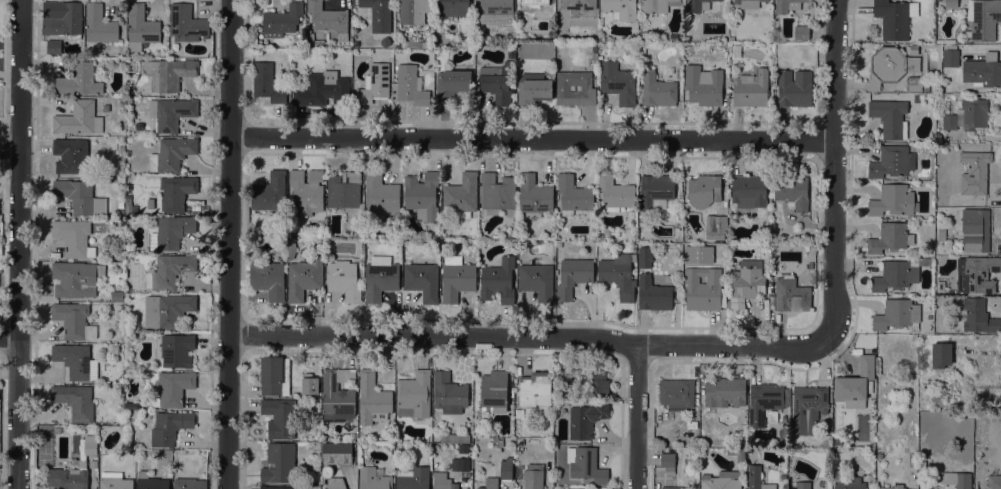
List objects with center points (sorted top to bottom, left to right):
building: (939, 0)
building: (748, 3)
building: (951, 3)
building: (578, 4)
building: (698, 5)
building: (787, 5)
building: (535, 6)
building: (654, 6)
building: (455, 8)
building: (620, 9)
building: (414, 11)
building: (496, 11)
building: (379, 14)
building: (327, 18)
building: (983, 18)
building: (894, 19)
building: (281, 20)
building: (66, 22)
building: (186, 24)
building: (99, 25)
building: (140, 28)
building: (801, 33)
building: (421, 43)
building: (355, 44)
building: (54, 47)
building: (594, 48)
building: (913, 49)
building: (736, 52)
building: (950, 58)
building: (890, 66)
road: (5, 67)
building: (983, 71)
building: (168, 73)
building: (79, 81)
building: (452, 82)
building: (496, 82)
building: (617, 82)
building: (266, 83)
building: (374, 84)
building: (915, 84)
building: (410, 85)
building: (703, 86)
building: (533, 88)
building: (794, 88)
building: (926, 88)
building: (934, 88)
building: (563, 89)
building: (751, 89)
building: (322, 90)
building: (657, 90)
building: (171, 113)
building: (967, 116)
building: (890, 118)
building: (78, 119)
road: (531, 140)
road: (10, 148)
building: (70, 155)
building: (171, 155)
building: (892, 162)
road: (833, 167)
building: (974, 173)
building: (128, 187)
building: (344, 190)
building: (703, 190)
building: (307, 191)
building: (656, 191)
building: (748, 191)
building: (792, 191)
building: (496, 193)
building: (615, 193)
building: (175, 194)
building: (269, 194)
building: (422, 195)
building: (461, 195)
building: (534, 195)
building: (573, 196)
building: (80, 197)
building: (381, 197)
building: (893, 201)
building: (150, 204)
building: (120, 205)
building: (129, 206)
building: (120, 213)
building: (719, 223)
building: (975, 230)
building: (171, 232)
building: (941, 233)
building: (73, 238)
building: (890, 238)
road: (3, 242)
road: (19, 244)
road: (231, 244)
building: (290, 249)
building: (644, 257)
building: (924, 262)
building: (810, 265)
building: (772, 271)
building: (169, 272)
building: (975, 273)
building: (618, 275)
building: (573, 276)
building: (895, 276)
building: (303, 278)
building: (456, 278)
building: (76, 279)
building: (268, 279)
building: (343, 280)
building: (380, 280)
building: (422, 281)
building: (498, 281)
building: (537, 282)
building: (746, 283)
building: (940, 286)
building: (704, 290)
building: (653, 295)
building: (791, 295)
building: (117, 297)
building: (167, 311)
building: (896, 314)
building: (978, 317)
building: (73, 321)
road: (535, 337)
road: (9, 338)
building: (177, 351)
building: (941, 355)
building: (75, 361)
building: (275, 377)
building: (594, 381)
building: (855, 384)
building: (172, 389)
building: (535, 389)
building: (494, 391)
building: (724, 393)
building: (338, 394)
building: (449, 394)
building: (676, 394)
building: (414, 396)
building: (372, 399)
building: (940, 399)
building: (75, 402)
building: (766, 404)
building: (128, 407)
building: (808, 409)
building: (518, 414)
building: (280, 417)
road: (640, 417)
building: (586, 419)
building: (837, 419)
road: (1, 422)
building: (691, 425)
building: (170, 427)
building: (488, 434)
building: (455, 438)
building: (784, 438)
building: (497, 442)
building: (463, 448)
building: (336, 453)
building: (736, 453)
building: (746, 454)
building: (879, 456)
building: (667, 460)
building: (278, 463)
building: (93, 464)
building: (460, 464)
building: (586, 465)
building: (74, 468)
building: (506, 468)
building: (533, 476)
building: (373, 478)
building: (757, 478)
building: (413, 479)
building: (957, 479)
building: (114, 481)
building: (994, 481)
building: (442, 482)
building: (152, 483)
building: (189, 483)
building: (335, 483)
building: (720, 483)
building: (848, 483)
building: (490, 484)
building: (802, 485)
building: (276, 487)
building: (671, 487)
building: (894, 487)

